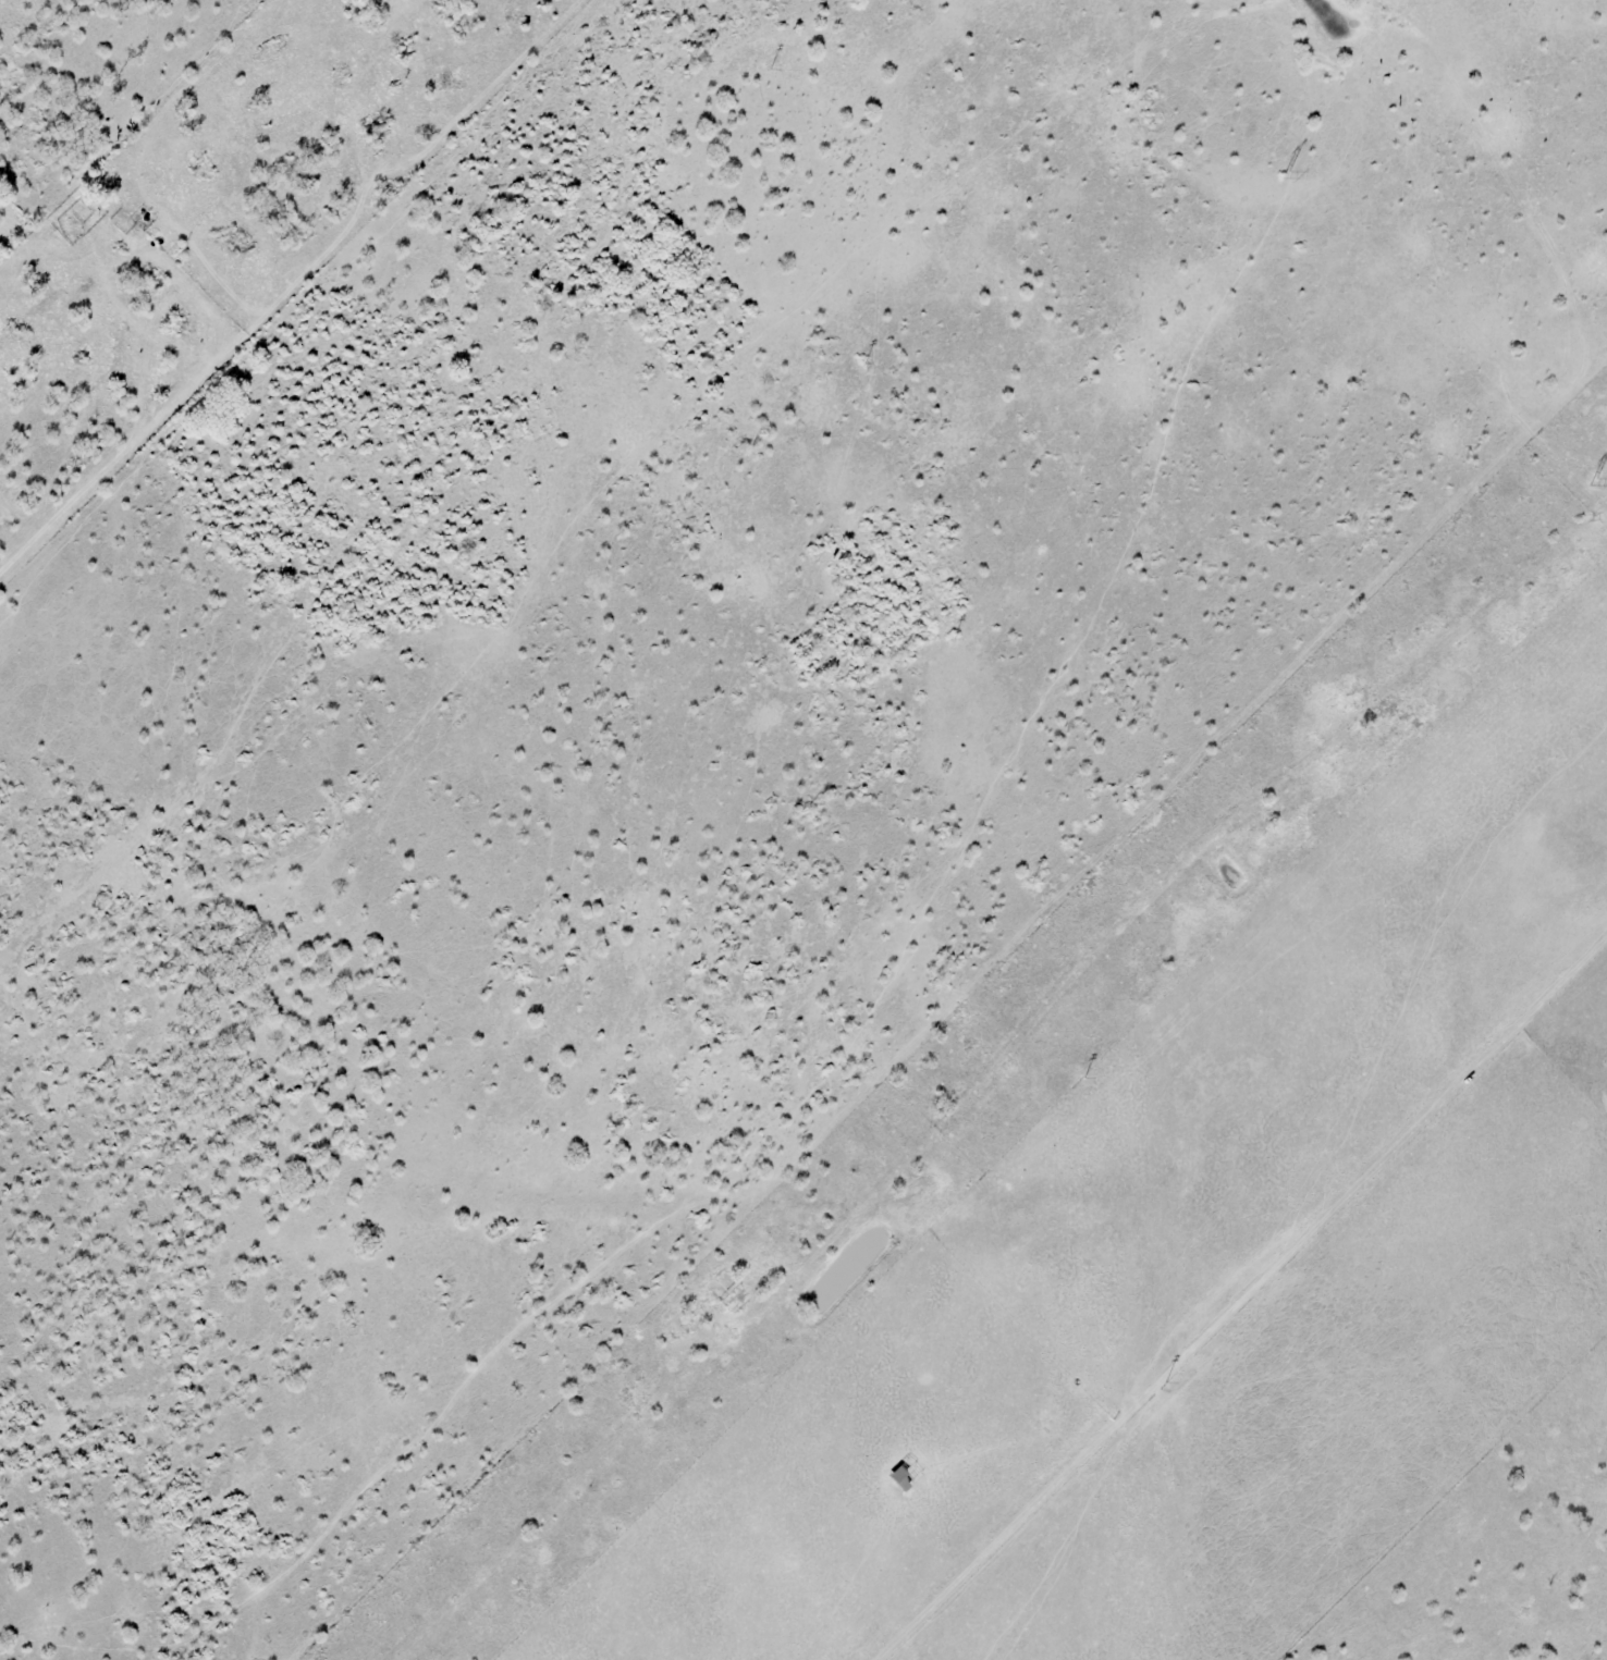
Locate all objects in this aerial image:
road: (943, 23)
power tower: (1285, 174)
power tower: (1593, 482)
building: (904, 1475)

